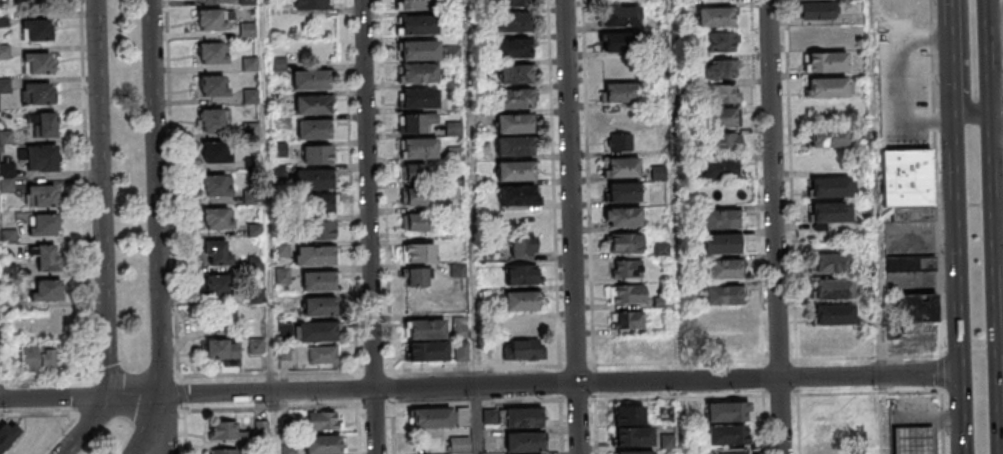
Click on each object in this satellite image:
building: (248, 3)
building: (507, 3)
building: (311, 4)
building: (417, 4)
building: (816, 10)
building: (621, 16)
building: (714, 16)
road: (950, 19)
building: (212, 23)
building: (418, 23)
building: (510, 23)
building: (249, 32)
building: (39, 33)
building: (822, 35)
road: (958, 37)
building: (620, 41)
building: (718, 41)
building: (512, 47)
building: (419, 49)
building: (5, 54)
building: (213, 57)
building: (826, 61)
building: (40, 66)
building: (251, 66)
building: (279, 66)
road: (966, 66)
building: (617, 67)
building: (720, 69)
road: (952, 70)
building: (419, 74)
building: (516, 74)
road: (902, 82)
building: (311, 84)
building: (5, 87)
building: (828, 87)
building: (214, 89)
building: (619, 92)
building: (724, 93)
building: (40, 96)
building: (252, 98)
building: (513, 98)
building: (418, 99)
building: (313, 109)
road: (964, 116)
building: (721, 117)
building: (212, 119)
building: (419, 120)
building: (513, 122)
building: (44, 124)
building: (453, 128)
building: (315, 133)
building: (829, 137)
building: (6, 140)
building: (619, 141)
building: (725, 142)
building: (514, 146)
building: (420, 149)
building: (281, 151)
building: (216, 153)
building: (318, 154)
building: (41, 158)
building: (254, 165)
building: (620, 167)
building: (718, 169)
building: (8, 171)
building: (515, 171)
building: (420, 172)
building: (657, 173)
building: (314, 183)
building: (907, 183)
road: (352, 186)
road: (387, 186)
building: (831, 186)
building: (8, 187)
road: (876, 188)
building: (217, 189)
road: (675, 190)
building: (623, 192)
road: (470, 193)
building: (518, 194)
road: (267, 196)
building: (420, 196)
building: (253, 198)
building: (43, 199)
building: (316, 208)
building: (829, 211)
building: (622, 216)
building: (723, 219)
building: (219, 222)
building: (419, 222)
road: (371, 226)
road: (574, 227)
road: (759, 227)
road: (776, 227)
road: (938, 227)
road: (995, 227)
building: (45, 228)
building: (321, 229)
building: (257, 231)
road: (157, 232)
road: (103, 234)
building: (10, 238)
road: (999, 240)
building: (624, 242)
building: (722, 243)
building: (522, 246)
building: (283, 250)
building: (216, 252)
building: (419, 252)
building: (318, 259)
building: (48, 262)
building: (830, 262)
building: (910, 263)
building: (725, 268)
building: (626, 269)
building: (10, 272)
building: (522, 274)
building: (284, 276)
building: (415, 276)
road: (176, 277)
road: (958, 278)
building: (319, 285)
building: (221, 289)
building: (833, 289)
building: (627, 293)
building: (47, 294)
building: (722, 295)
building: (520, 300)
building: (662, 304)
building: (916, 307)
building: (320, 311)
building: (833, 313)
building: (725, 317)
building: (626, 319)
building: (522, 325)
building: (459, 328)
building: (426, 329)
building: (317, 336)
building: (835, 340)
building: (729, 342)
building: (258, 348)
building: (630, 348)
building: (665, 348)
building: (523, 349)
building: (223, 350)
building: (427, 350)
building: (462, 350)
building: (323, 357)
building: (38, 358)
road: (852, 358)
road: (476, 368)
road: (375, 372)
road: (480, 385)
road: (91, 390)
road: (743, 396)
road: (579, 401)
road: (478, 404)
road: (884, 414)
building: (629, 415)
building: (725, 415)
building: (465, 417)
road: (681, 417)
building: (430, 418)
road: (478, 419)
building: (323, 420)
building: (524, 421)
road: (799, 424)
road: (562, 427)
building: (222, 430)
building: (834, 431)
building: (7, 434)
building: (727, 438)
road: (165, 440)
building: (635, 440)
building: (914, 442)
building: (460, 444)
building: (524, 445)
building: (324, 446)
building: (291, 449)
building: (832, 450)
building: (223, 451)
road: (964, 451)
building: (632, 452)
building: (729, 453)

